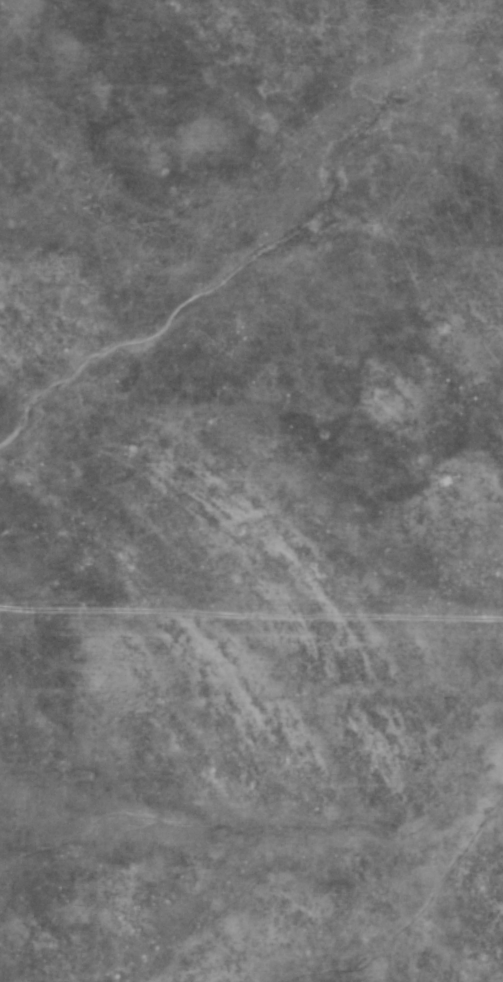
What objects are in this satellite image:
solar farm: (251, 491)

